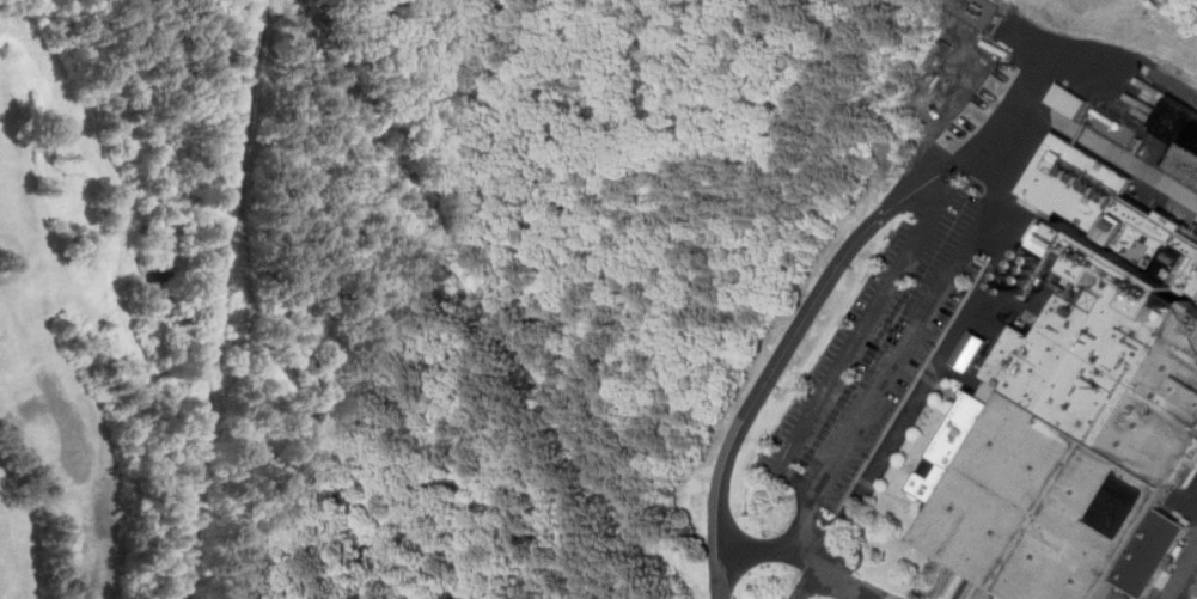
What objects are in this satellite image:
road: (1183, 7)
power substation: (972, 11)
road: (1050, 54)
building: (1065, 99)
road: (1031, 108)
building: (1179, 137)
road: (231, 299)
parking lot: (881, 332)
building: (971, 349)
road: (942, 360)
road: (892, 365)
road: (762, 392)
building: (1079, 403)
road: (806, 552)
road: (1181, 573)

